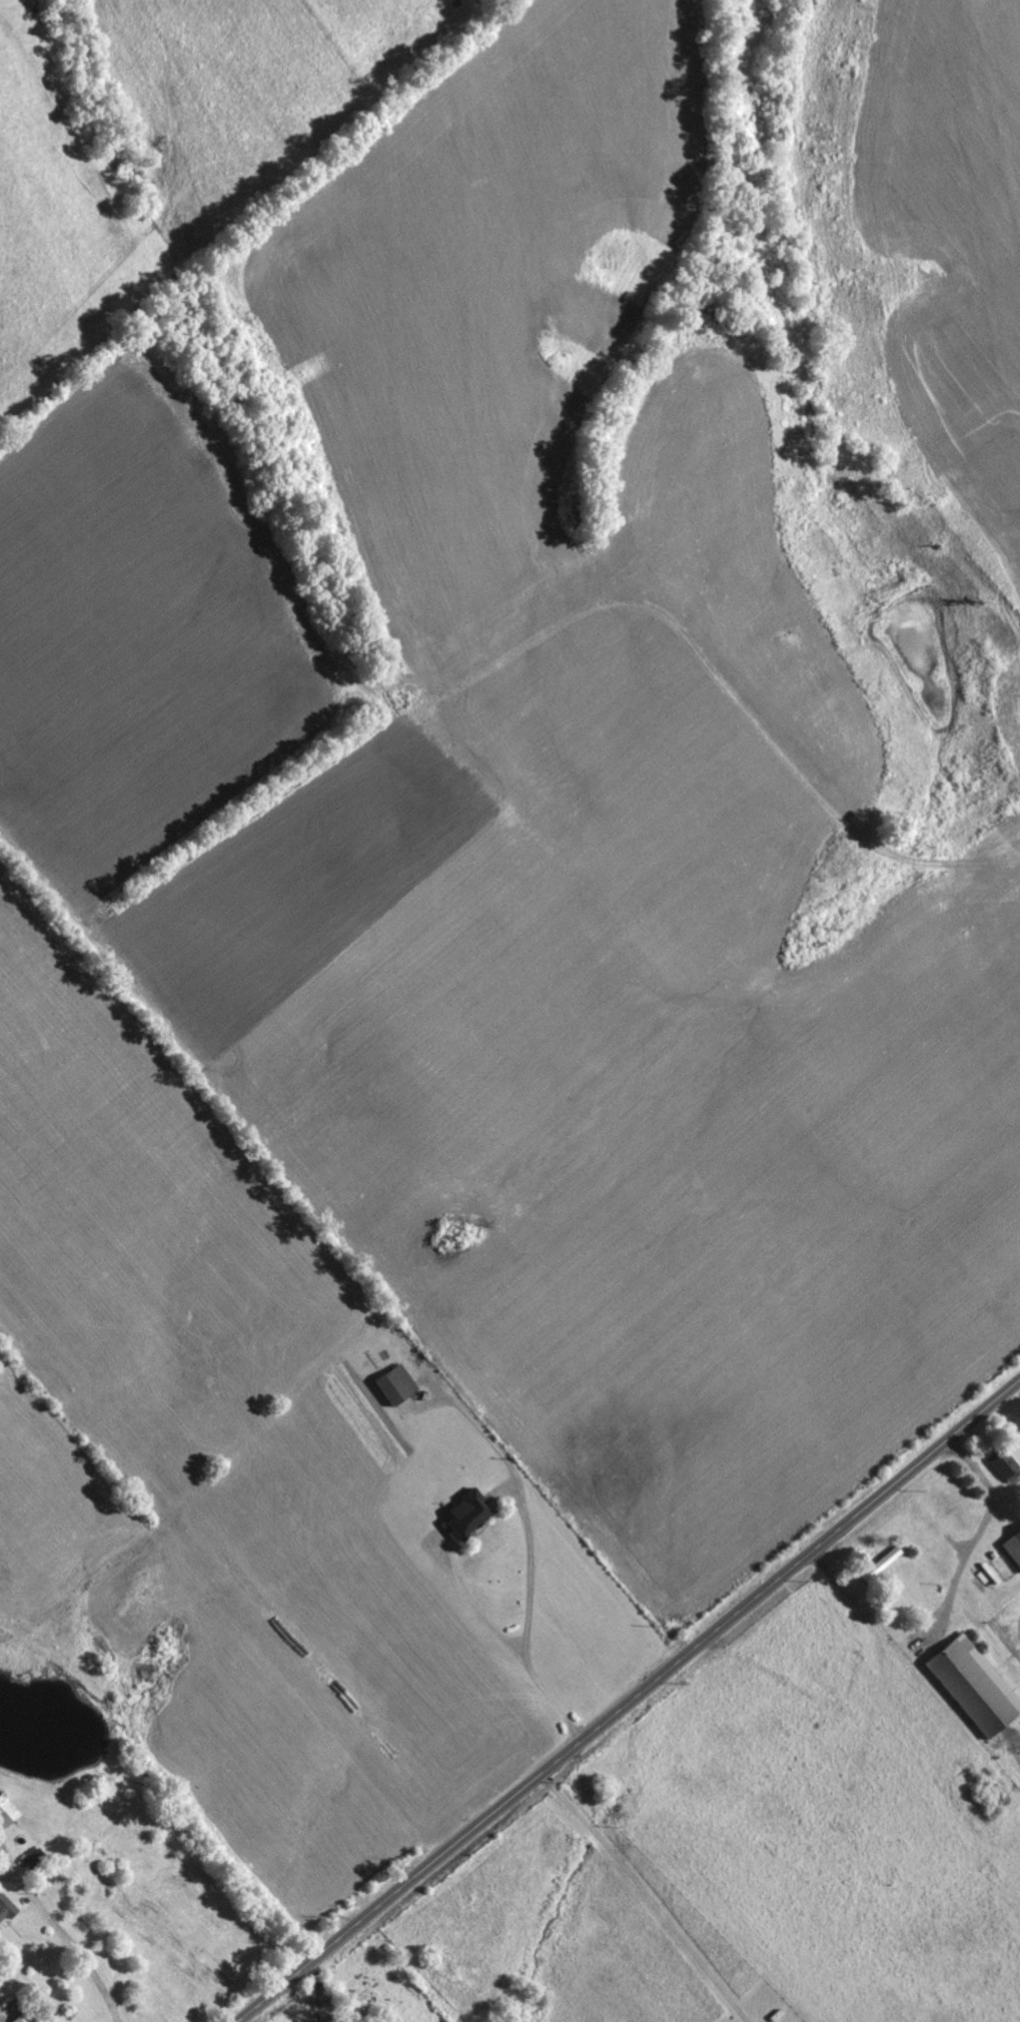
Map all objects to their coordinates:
building: (396, 1383)
building: (1004, 1463)
building: (467, 1510)
building: (1012, 1544)
road: (657, 1681)
road: (646, 1896)
road: (48, 1919)
road: (266, 2000)
road: (109, 2006)
building: (22, 2018)

